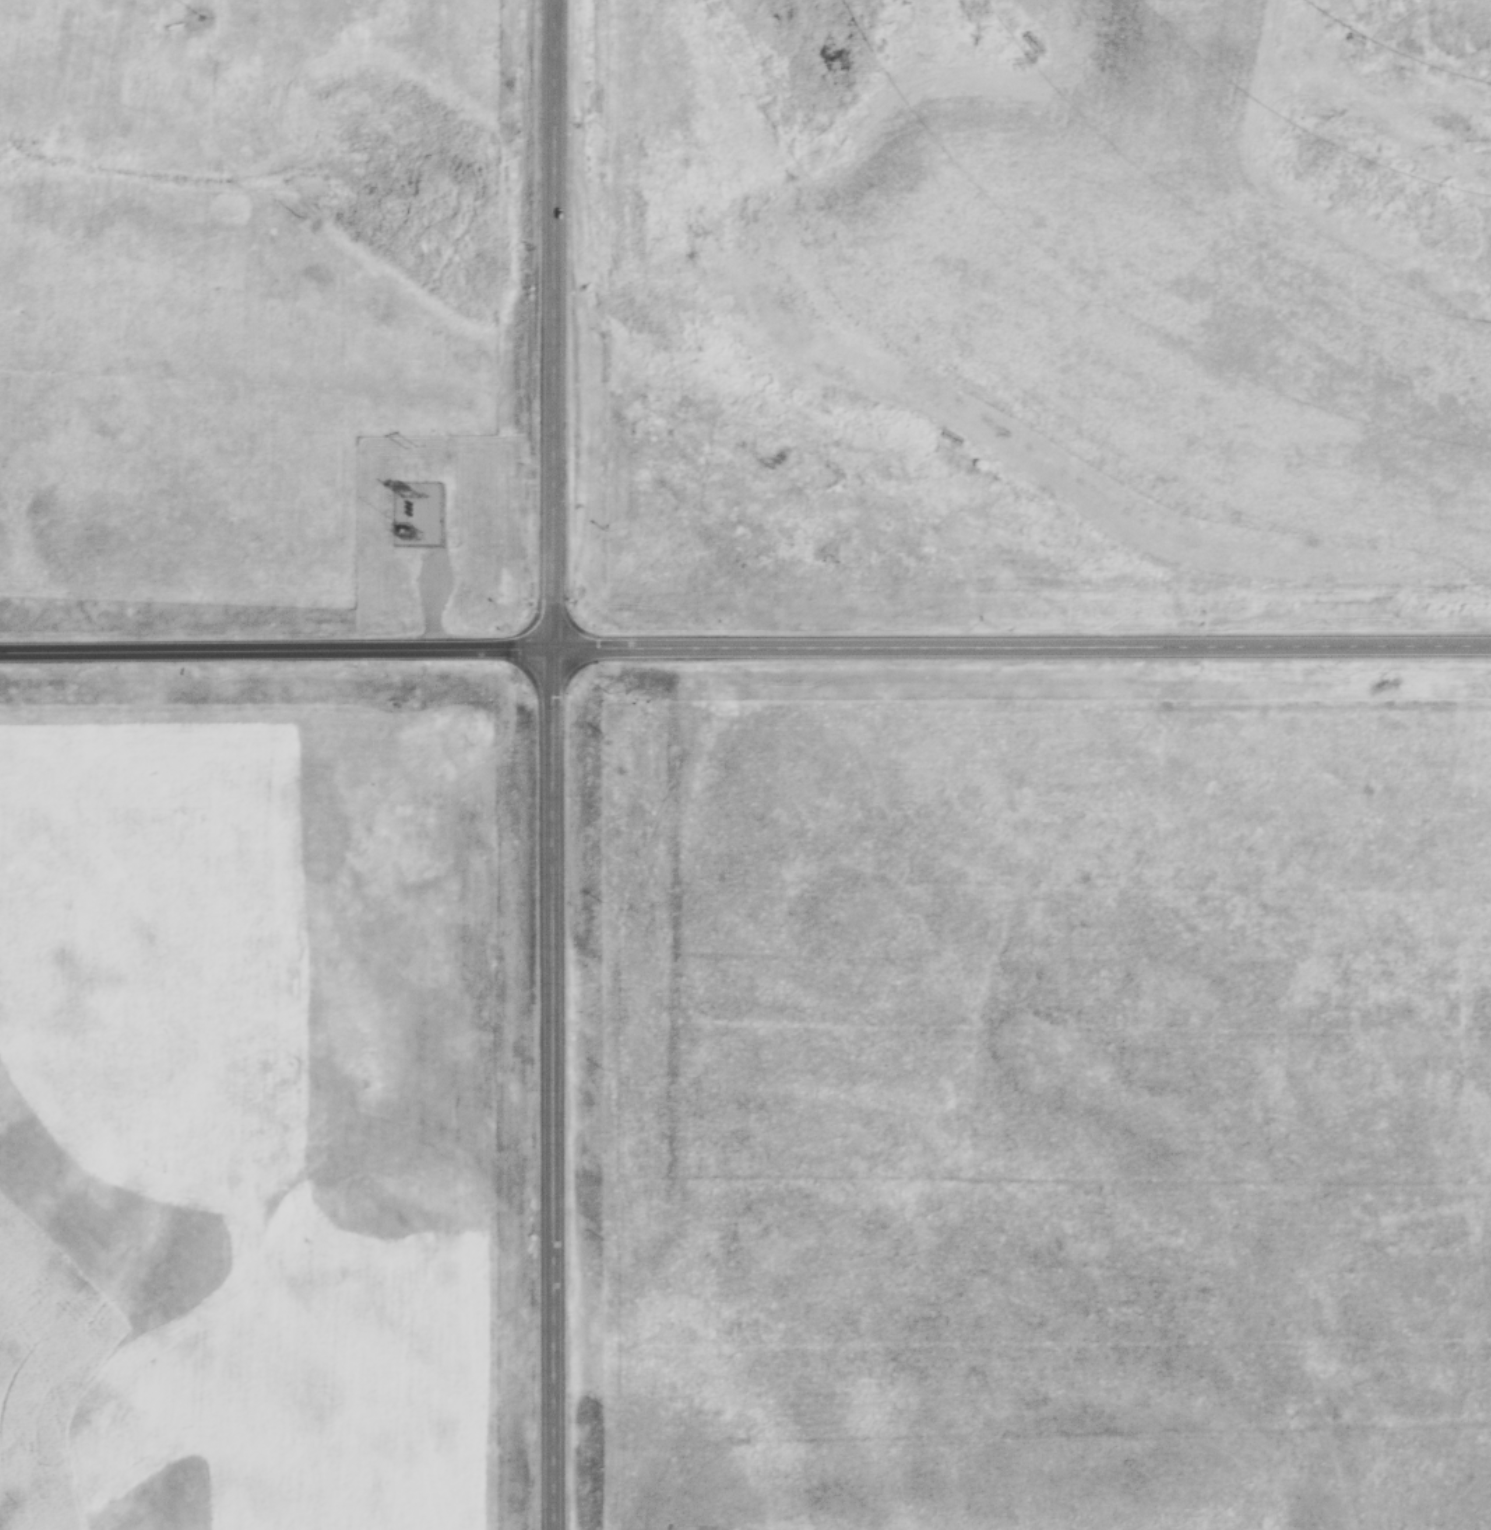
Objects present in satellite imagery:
power substation: (418, 513)
road: (745, 648)
road: (548, 765)

